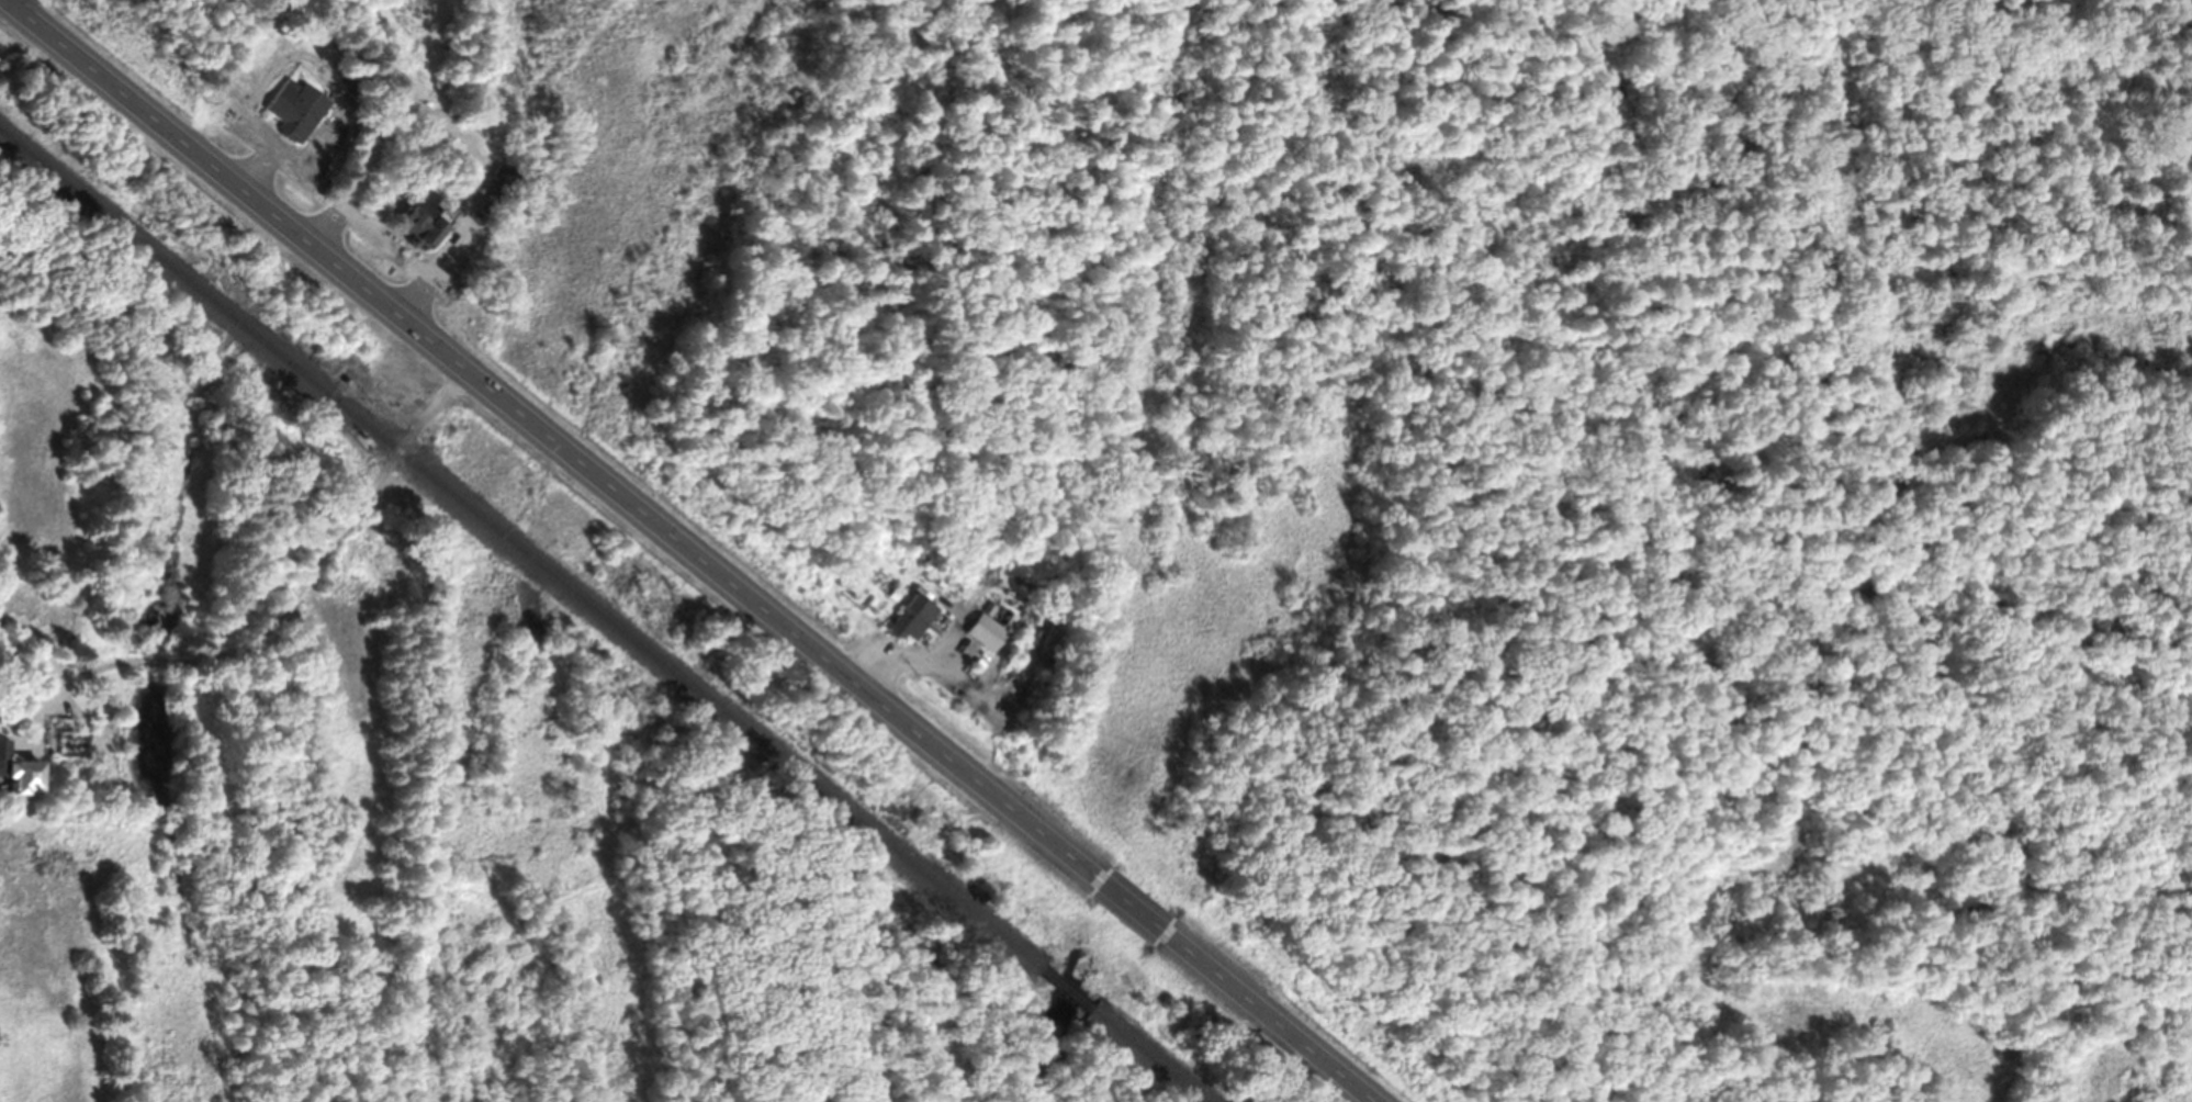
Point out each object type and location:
building: (293, 109)
building: (419, 220)
road: (552, 440)
railway: (519, 549)
road: (293, 600)
building: (908, 619)
building: (983, 631)
building: (14, 778)
road: (1128, 906)
railway: (1065, 988)
road: (1263, 1015)
railway: (1148, 1055)

